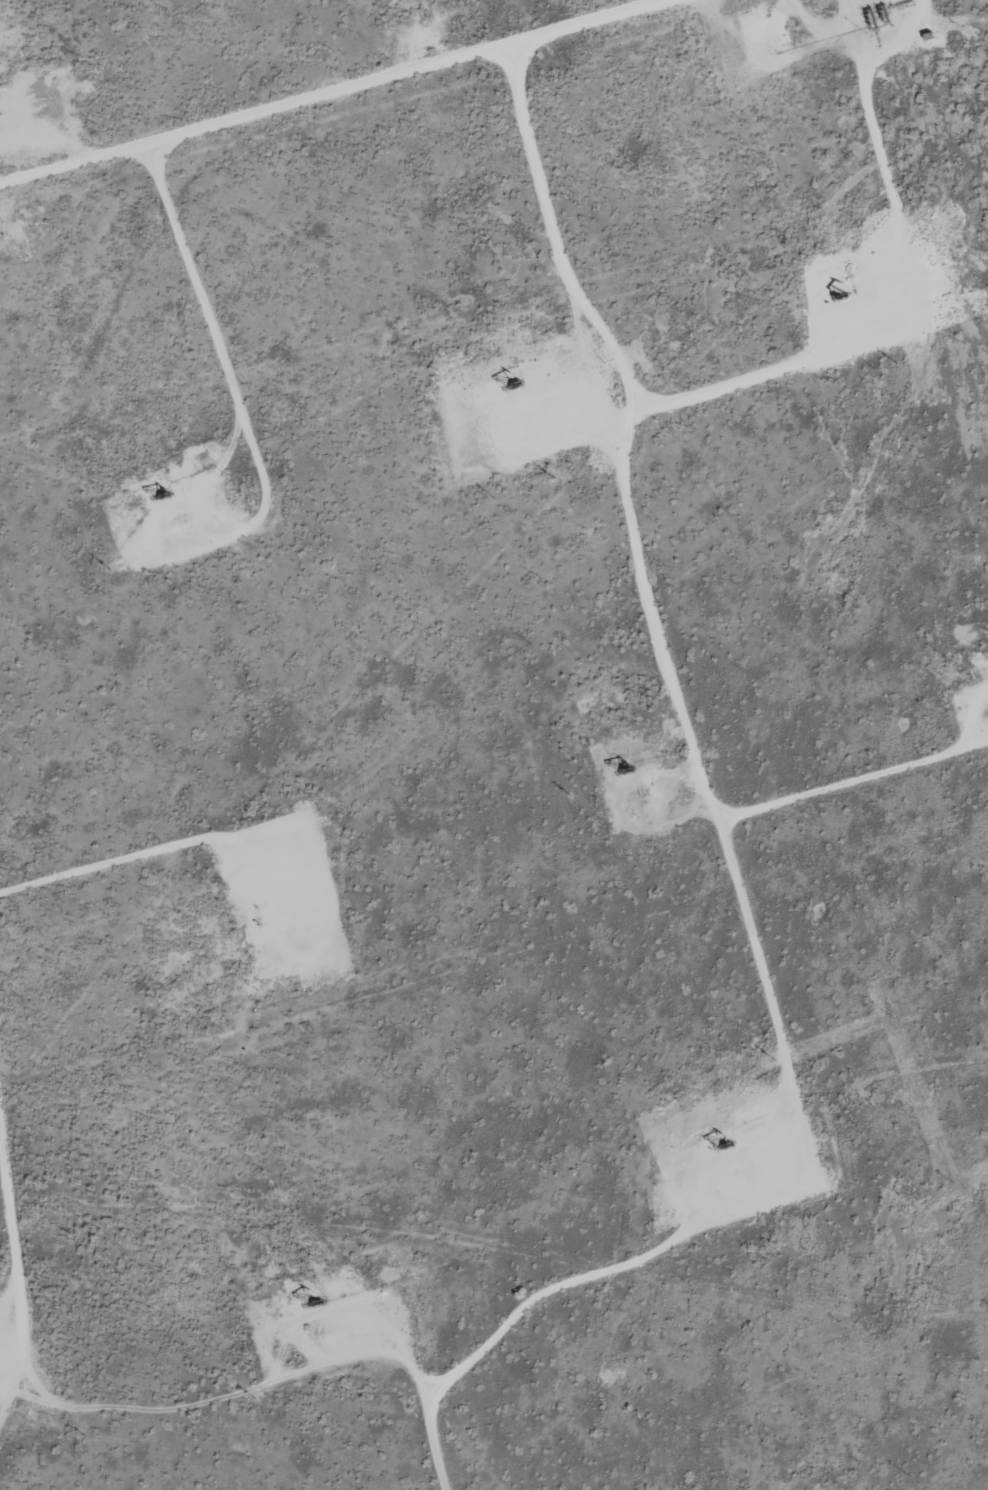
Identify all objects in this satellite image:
road: (329, 93)
road: (644, 556)
road: (16, 1296)

